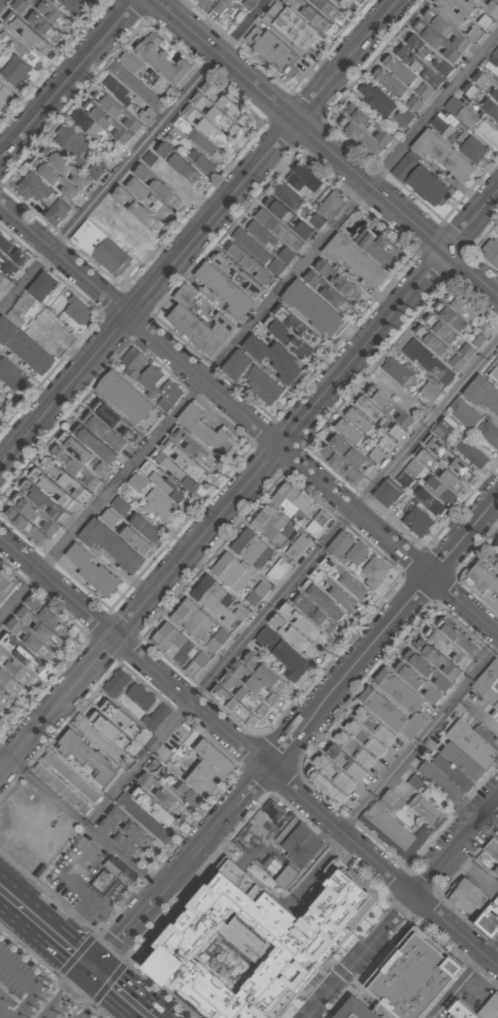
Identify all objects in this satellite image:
building: (354, 0)
building: (89, 1)
building: (253, 1)
road: (2, 3)
building: (346, 3)
building: (20, 4)
building: (216, 4)
building: (75, 6)
building: (489, 6)
building: (327, 9)
building: (54, 15)
building: (315, 16)
building: (447, 26)
building: (289, 27)
building: (44, 28)
building: (475, 33)
building: (28, 35)
building: (19, 47)
building: (273, 50)
building: (496, 53)
building: (426, 61)
building: (155, 62)
building: (14, 70)
building: (395, 75)
road: (70, 80)
building: (481, 81)
building: (116, 89)
building: (423, 91)
building: (494, 95)
building: (378, 98)
building: (0, 105)
building: (490, 109)
building: (118, 110)
building: (460, 113)
building: (401, 118)
building: (213, 120)
building: (442, 123)
building: (364, 130)
building: (74, 141)
road: (328, 146)
building: (473, 150)
building: (442, 155)
road: (134, 156)
building: (153, 157)
building: (203, 162)
building: (182, 164)
building: (404, 168)
building: (62, 172)
building: (97, 173)
building: (304, 180)
building: (428, 187)
building: (147, 197)
building: (44, 200)
building: (331, 204)
building: (317, 219)
road: (201, 233)
building: (3, 239)
building: (378, 246)
building: (101, 250)
building: (490, 250)
building: (254, 255)
building: (287, 255)
building: (19, 257)
building: (354, 259)
building: (8, 265)
building: (3, 283)
building: (43, 286)
building: (333, 286)
building: (22, 304)
building: (313, 309)
building: (466, 309)
building: (78, 310)
building: (454, 318)
building: (197, 321)
building: (442, 327)
building: (486, 328)
road: (250, 329)
building: (294, 330)
building: (433, 340)
building: (24, 348)
building: (466, 350)
building: (497, 350)
building: (274, 357)
building: (133, 361)
building: (458, 361)
building: (430, 362)
building: (236, 364)
building: (398, 372)
building: (12, 374)
building: (494, 374)
building: (151, 377)
building: (265, 385)
building: (429, 392)
building: (168, 395)
building: (483, 395)
building: (1, 396)
building: (126, 396)
building: (391, 406)
building: (370, 409)
building: (463, 413)
road: (250, 420)
building: (361, 421)
building: (444, 425)
building: (209, 430)
building: (349, 430)
building: (108, 432)
building: (396, 432)
building: (489, 433)
building: (438, 446)
building: (195, 447)
building: (375, 455)
building: (475, 455)
building: (426, 457)
building: (348, 459)
building: (184, 460)
building: (462, 466)
building: (413, 468)
building: (103, 469)
building: (176, 471)
building: (72, 472)
building: (404, 479)
building: (453, 480)
building: (137, 482)
road: (249, 484)
building: (167, 487)
building: (440, 489)
building: (389, 494)
building: (295, 502)
building: (431, 502)
building: (162, 505)
building: (41, 506)
building: (119, 506)
building: (111, 517)
building: (419, 521)
building: (318, 522)
building: (274, 525)
building: (142, 533)
building: (112, 544)
building: (297, 547)
building: (252, 548)
building: (349, 548)
building: (492, 553)
building: (92, 570)
building: (276, 570)
building: (232, 571)
building: (373, 571)
building: (345, 577)
building: (483, 577)
road: (292, 585)
building: (6, 586)
building: (257, 593)
building: (325, 599)
building: (218, 603)
building: (316, 613)
road: (399, 613)
building: (192, 619)
building: (303, 622)
building: (301, 640)
building: (215, 641)
building: (173, 642)
building: (30, 648)
building: (281, 654)
building: (197, 664)
building: (485, 674)
building: (116, 683)
building: (249, 687)
building: (265, 690)
building: (490, 691)
building: (140, 697)
building: (496, 703)
building: (395, 707)
building: (100, 722)
road: (416, 734)
building: (473, 740)
building: (134, 741)
road: (283, 748)
road: (248, 752)
building: (463, 758)
building: (157, 769)
building: (453, 771)
building: (207, 774)
building: (71, 776)
building: (438, 778)
building: (416, 779)
road: (250, 786)
building: (60, 788)
building: (163, 792)
building: (390, 798)
building: (157, 807)
building: (425, 807)
building: (275, 808)
building: (118, 815)
road: (80, 821)
building: (110, 828)
building: (393, 828)
building: (285, 829)
building: (140, 834)
building: (303, 843)
building: (130, 844)
building: (493, 848)
road: (194, 849)
building: (488, 862)
building: (286, 874)
building: (113, 875)
parking lot: (219, 889)
road: (30, 894)
building: (465, 894)
building: (496, 895)
road: (56, 898)
road: (403, 906)
building: (490, 918)
road: (119, 936)
road: (41, 939)
road: (80, 939)
building: (253, 944)
road: (491, 946)
traffic signals: (100, 957)
building: (417, 969)
traffic signals: (83, 976)
road: (32, 985)
road: (457, 986)
road: (137, 987)
parking lot: (32, 990)
road: (65, 997)
road: (107, 997)
building: (490, 1007)
building: (356, 1010)
building: (465, 1011)
road: (4, 1014)
building: (452, 1015)
road: (310, 1017)
road: (311, 1017)

